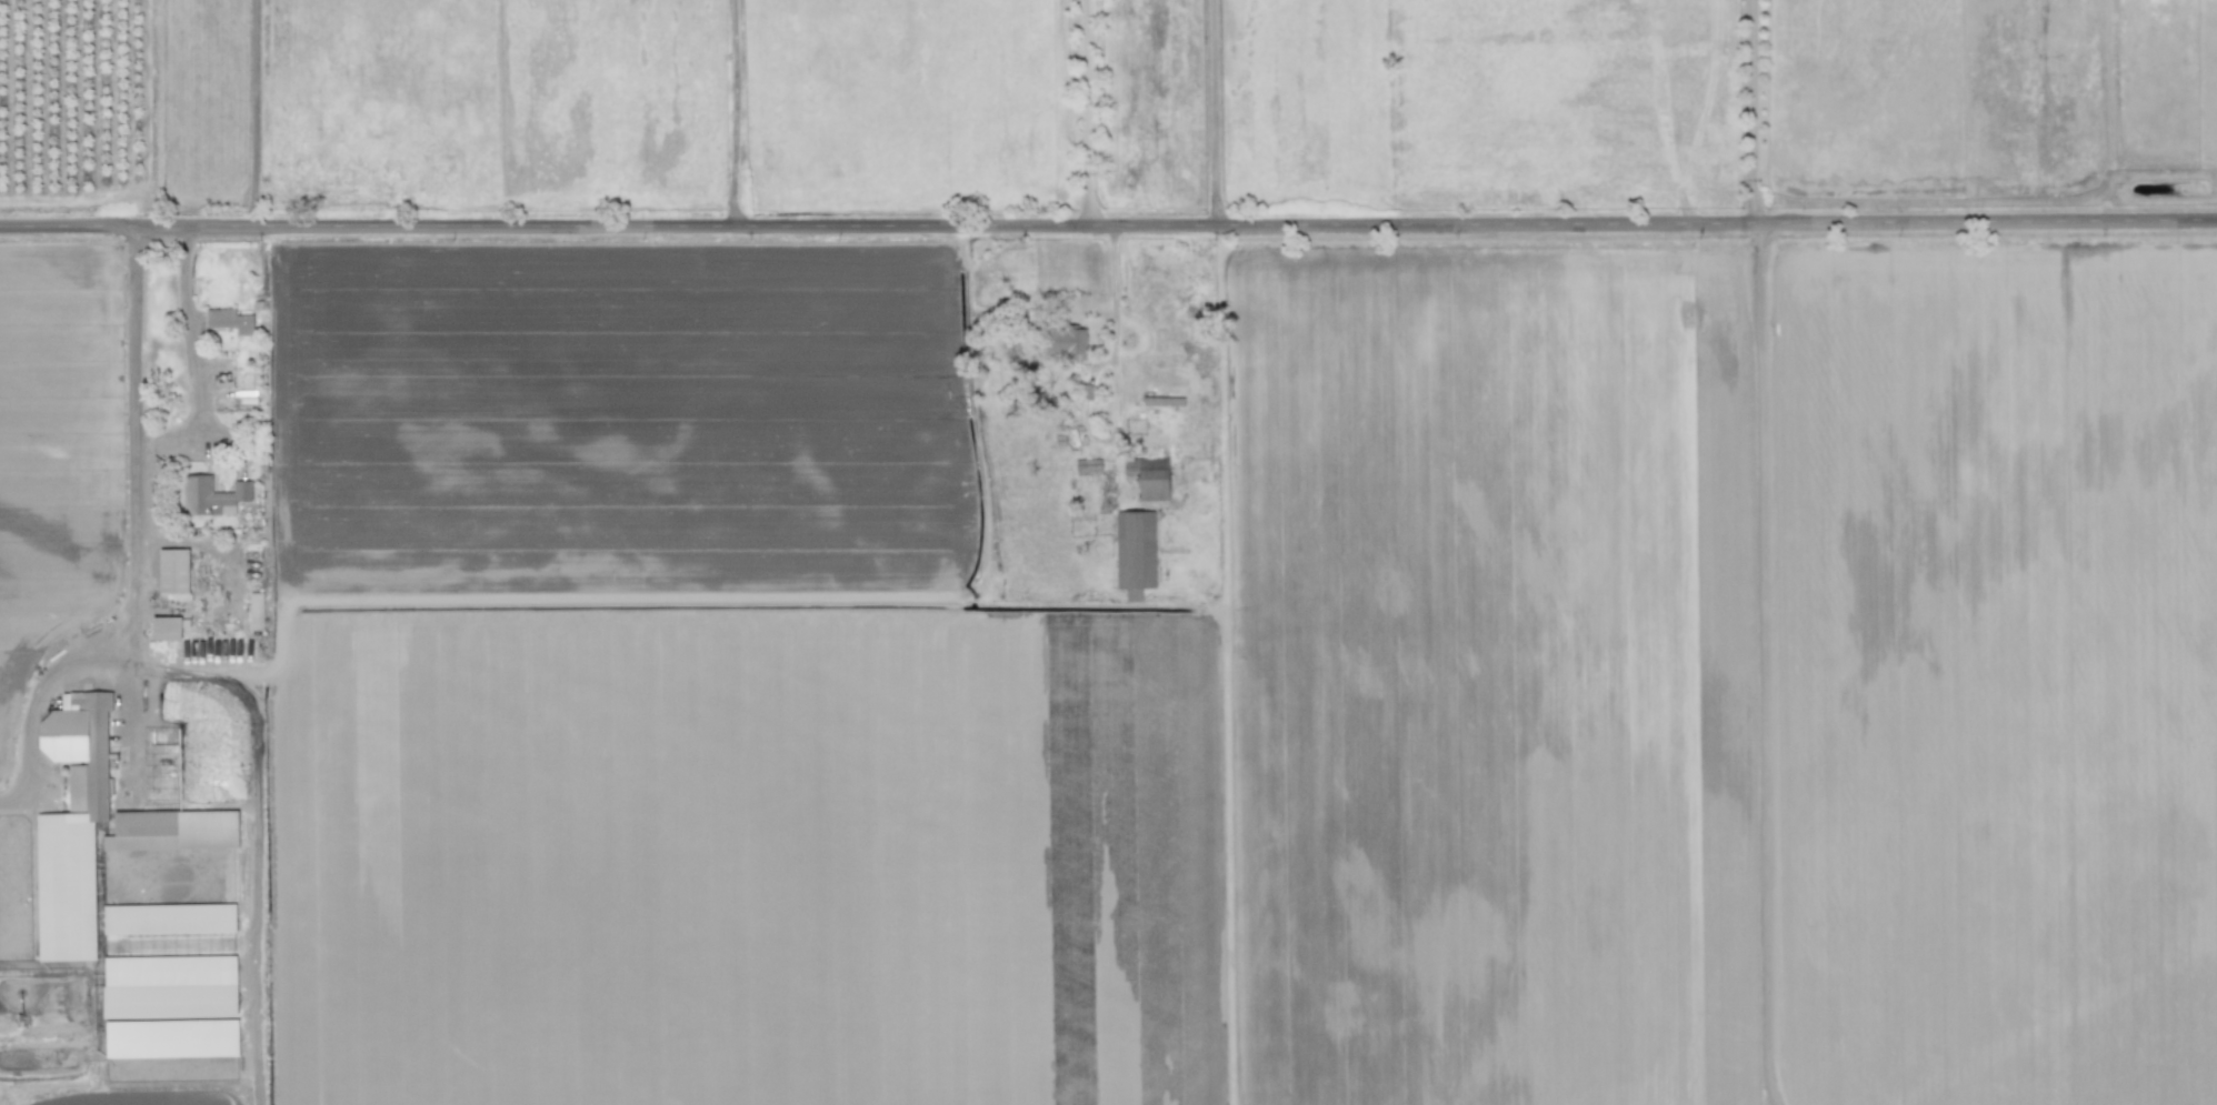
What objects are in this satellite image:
road: (1755, 110)
road: (1085, 111)
road: (254, 112)
road: (732, 112)
road: (1216, 112)
road: (1108, 224)
road: (1111, 299)
building: (229, 319)
road: (186, 325)
building: (1066, 340)
road: (134, 360)
building: (1088, 465)
building: (1148, 475)
building: (211, 495)
building: (1134, 549)
crop: (1108, 552)
building: (172, 570)
building: (254, 610)
building: (164, 626)
road: (106, 640)
road: (1766, 664)
building: (169, 808)
building: (71, 825)
building: (169, 917)
building: (171, 1037)

